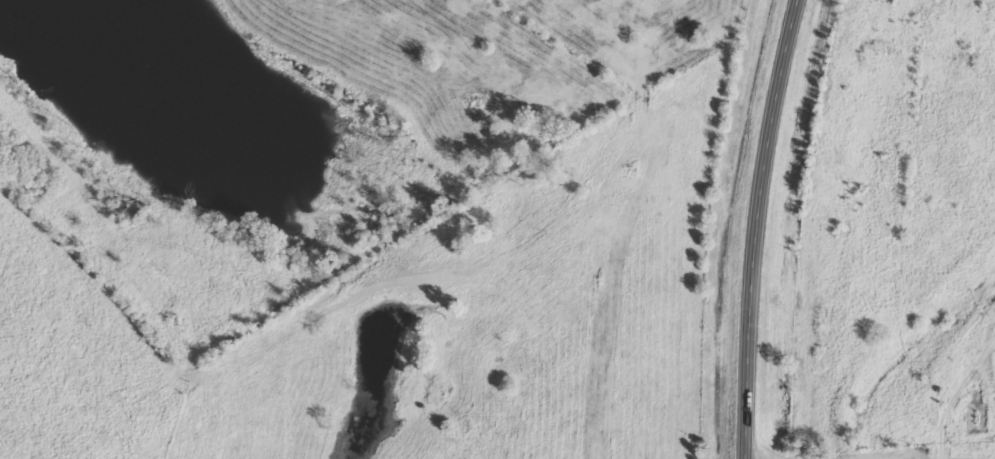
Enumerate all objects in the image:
road: (752, 227)

